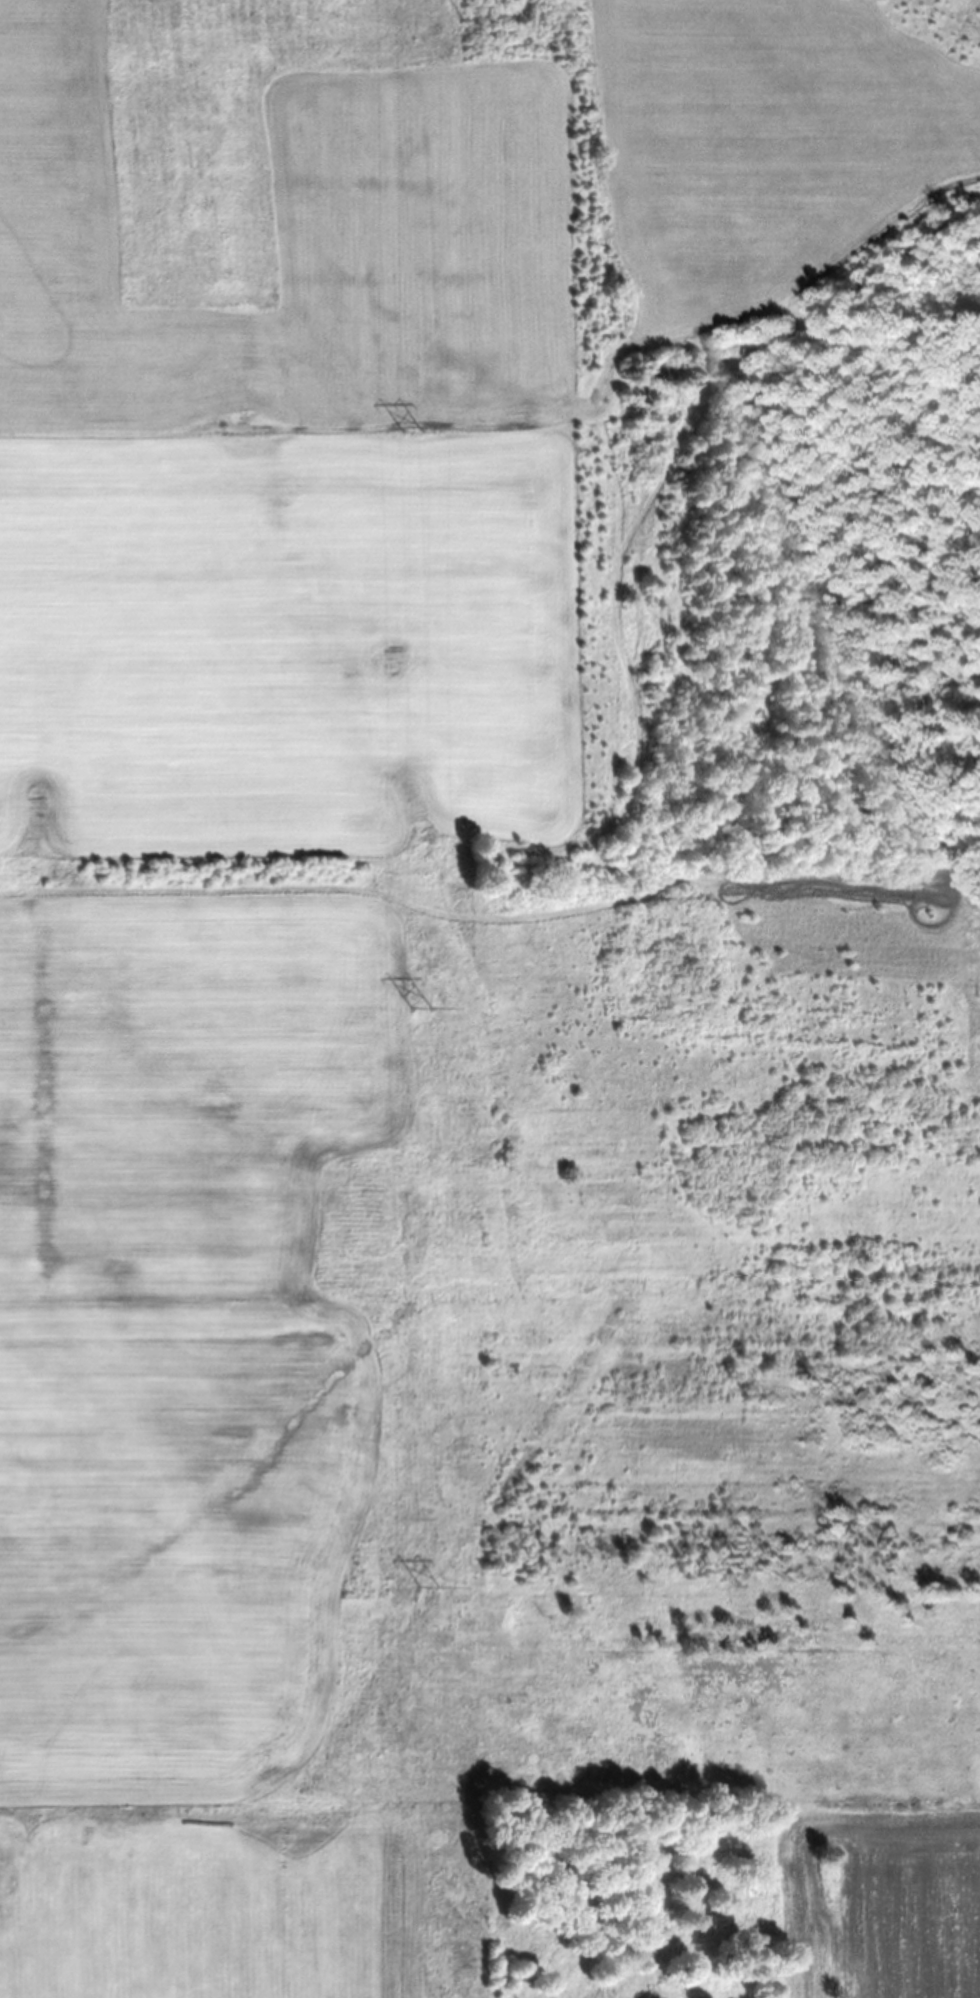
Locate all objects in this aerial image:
power tower: (411, 428)
power tower: (418, 1009)
power tower: (427, 1590)

